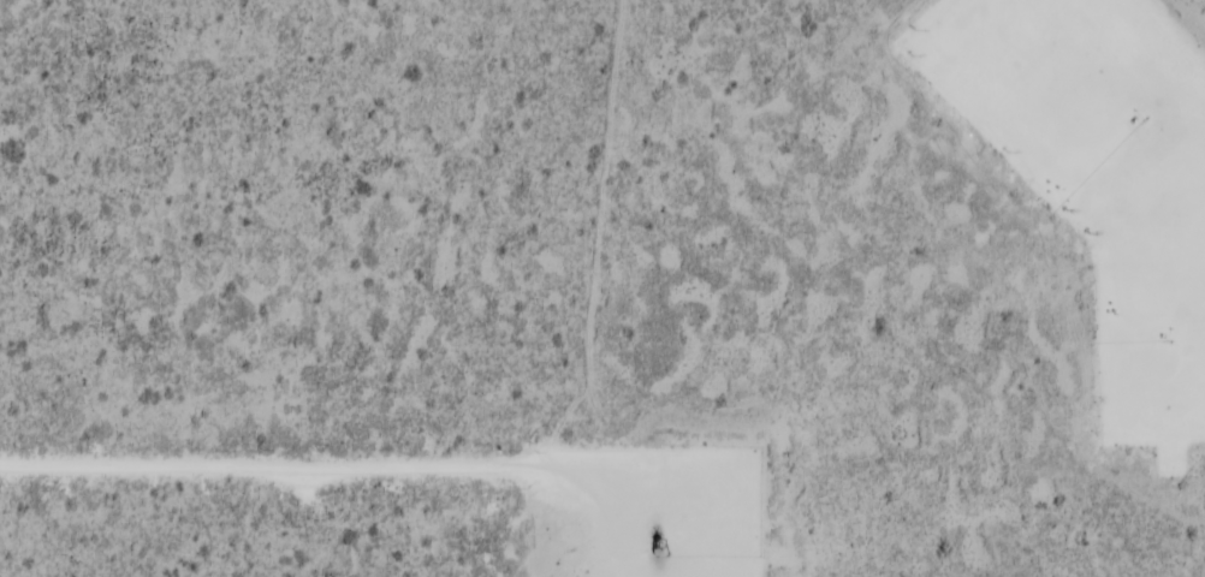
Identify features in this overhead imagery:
road: (408, 459)

